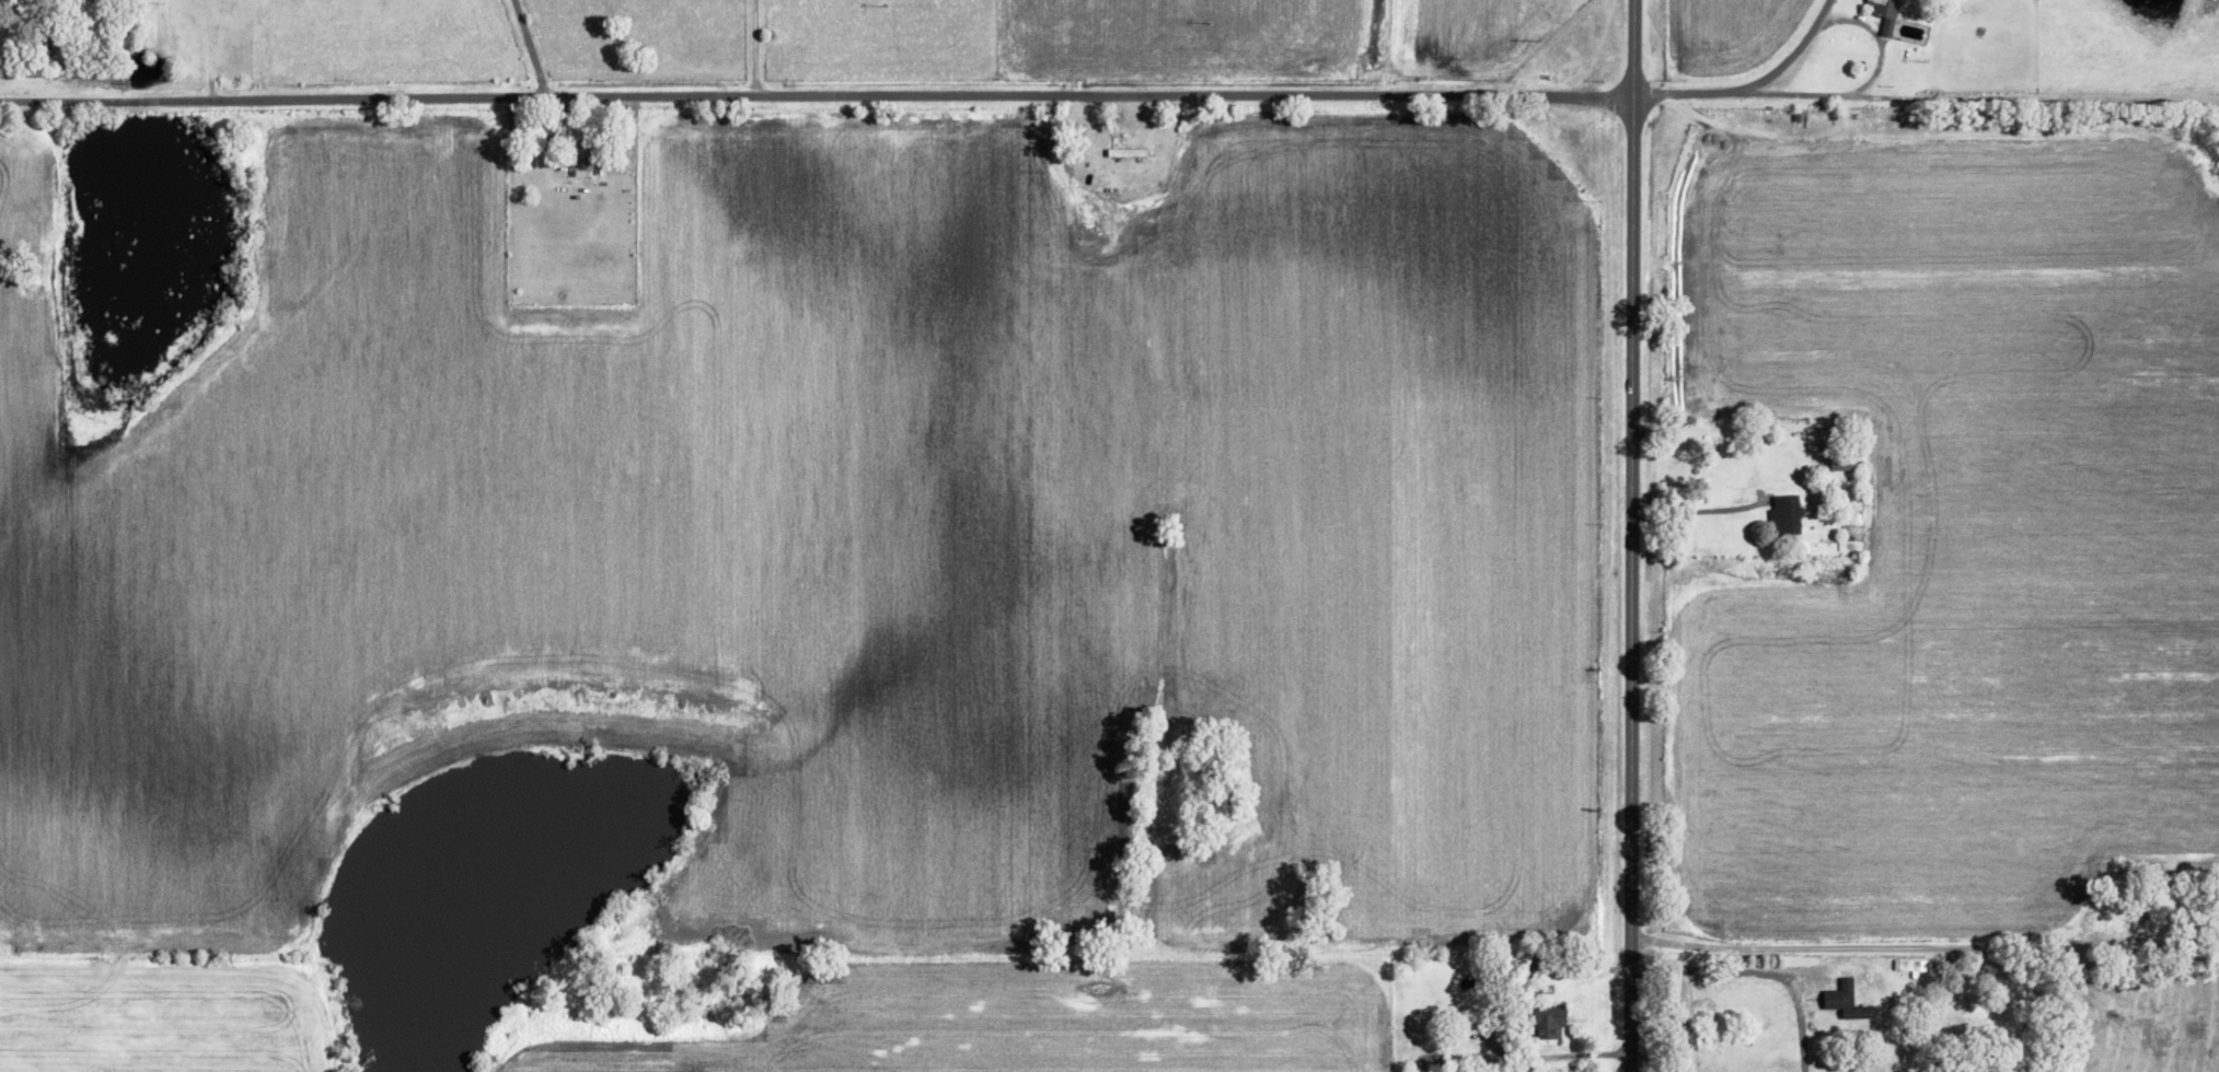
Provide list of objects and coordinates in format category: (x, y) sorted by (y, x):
building: (1887, 13)
road: (531, 49)
road: (751, 49)
road: (1752, 86)
road: (1981, 95)
road: (816, 98)
building: (586, 158)
building: (1845, 463)
road: (1700, 510)
building: (1789, 512)
road: (1630, 535)
road: (1923, 949)
building: (1911, 965)
road: (1756, 971)
building: (1846, 999)
building: (1552, 1022)
road: (1561, 1053)

